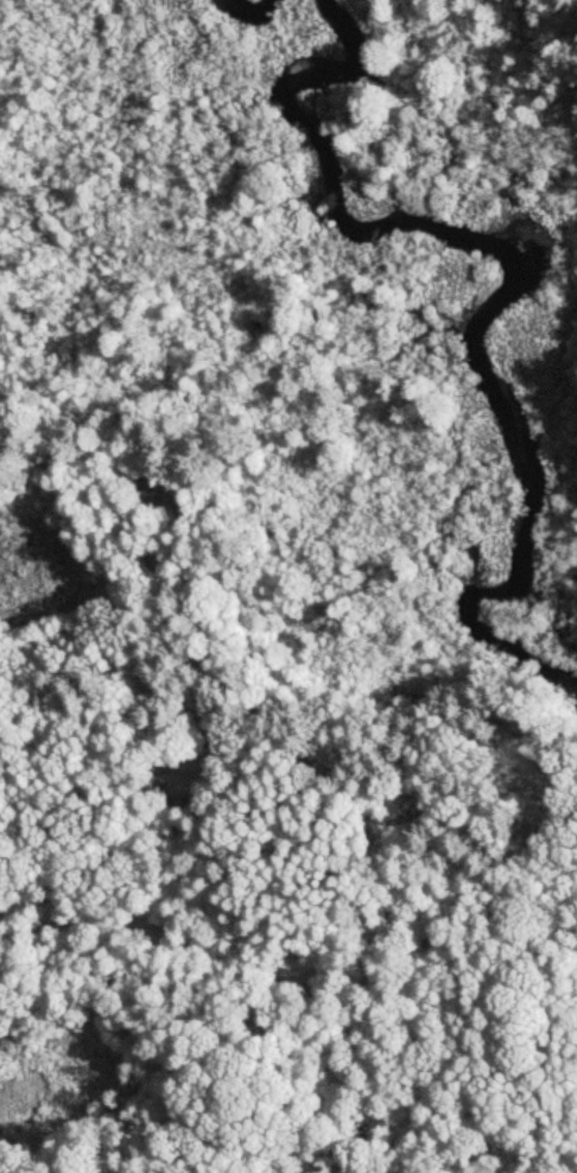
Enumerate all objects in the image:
road: (109, 1059)

